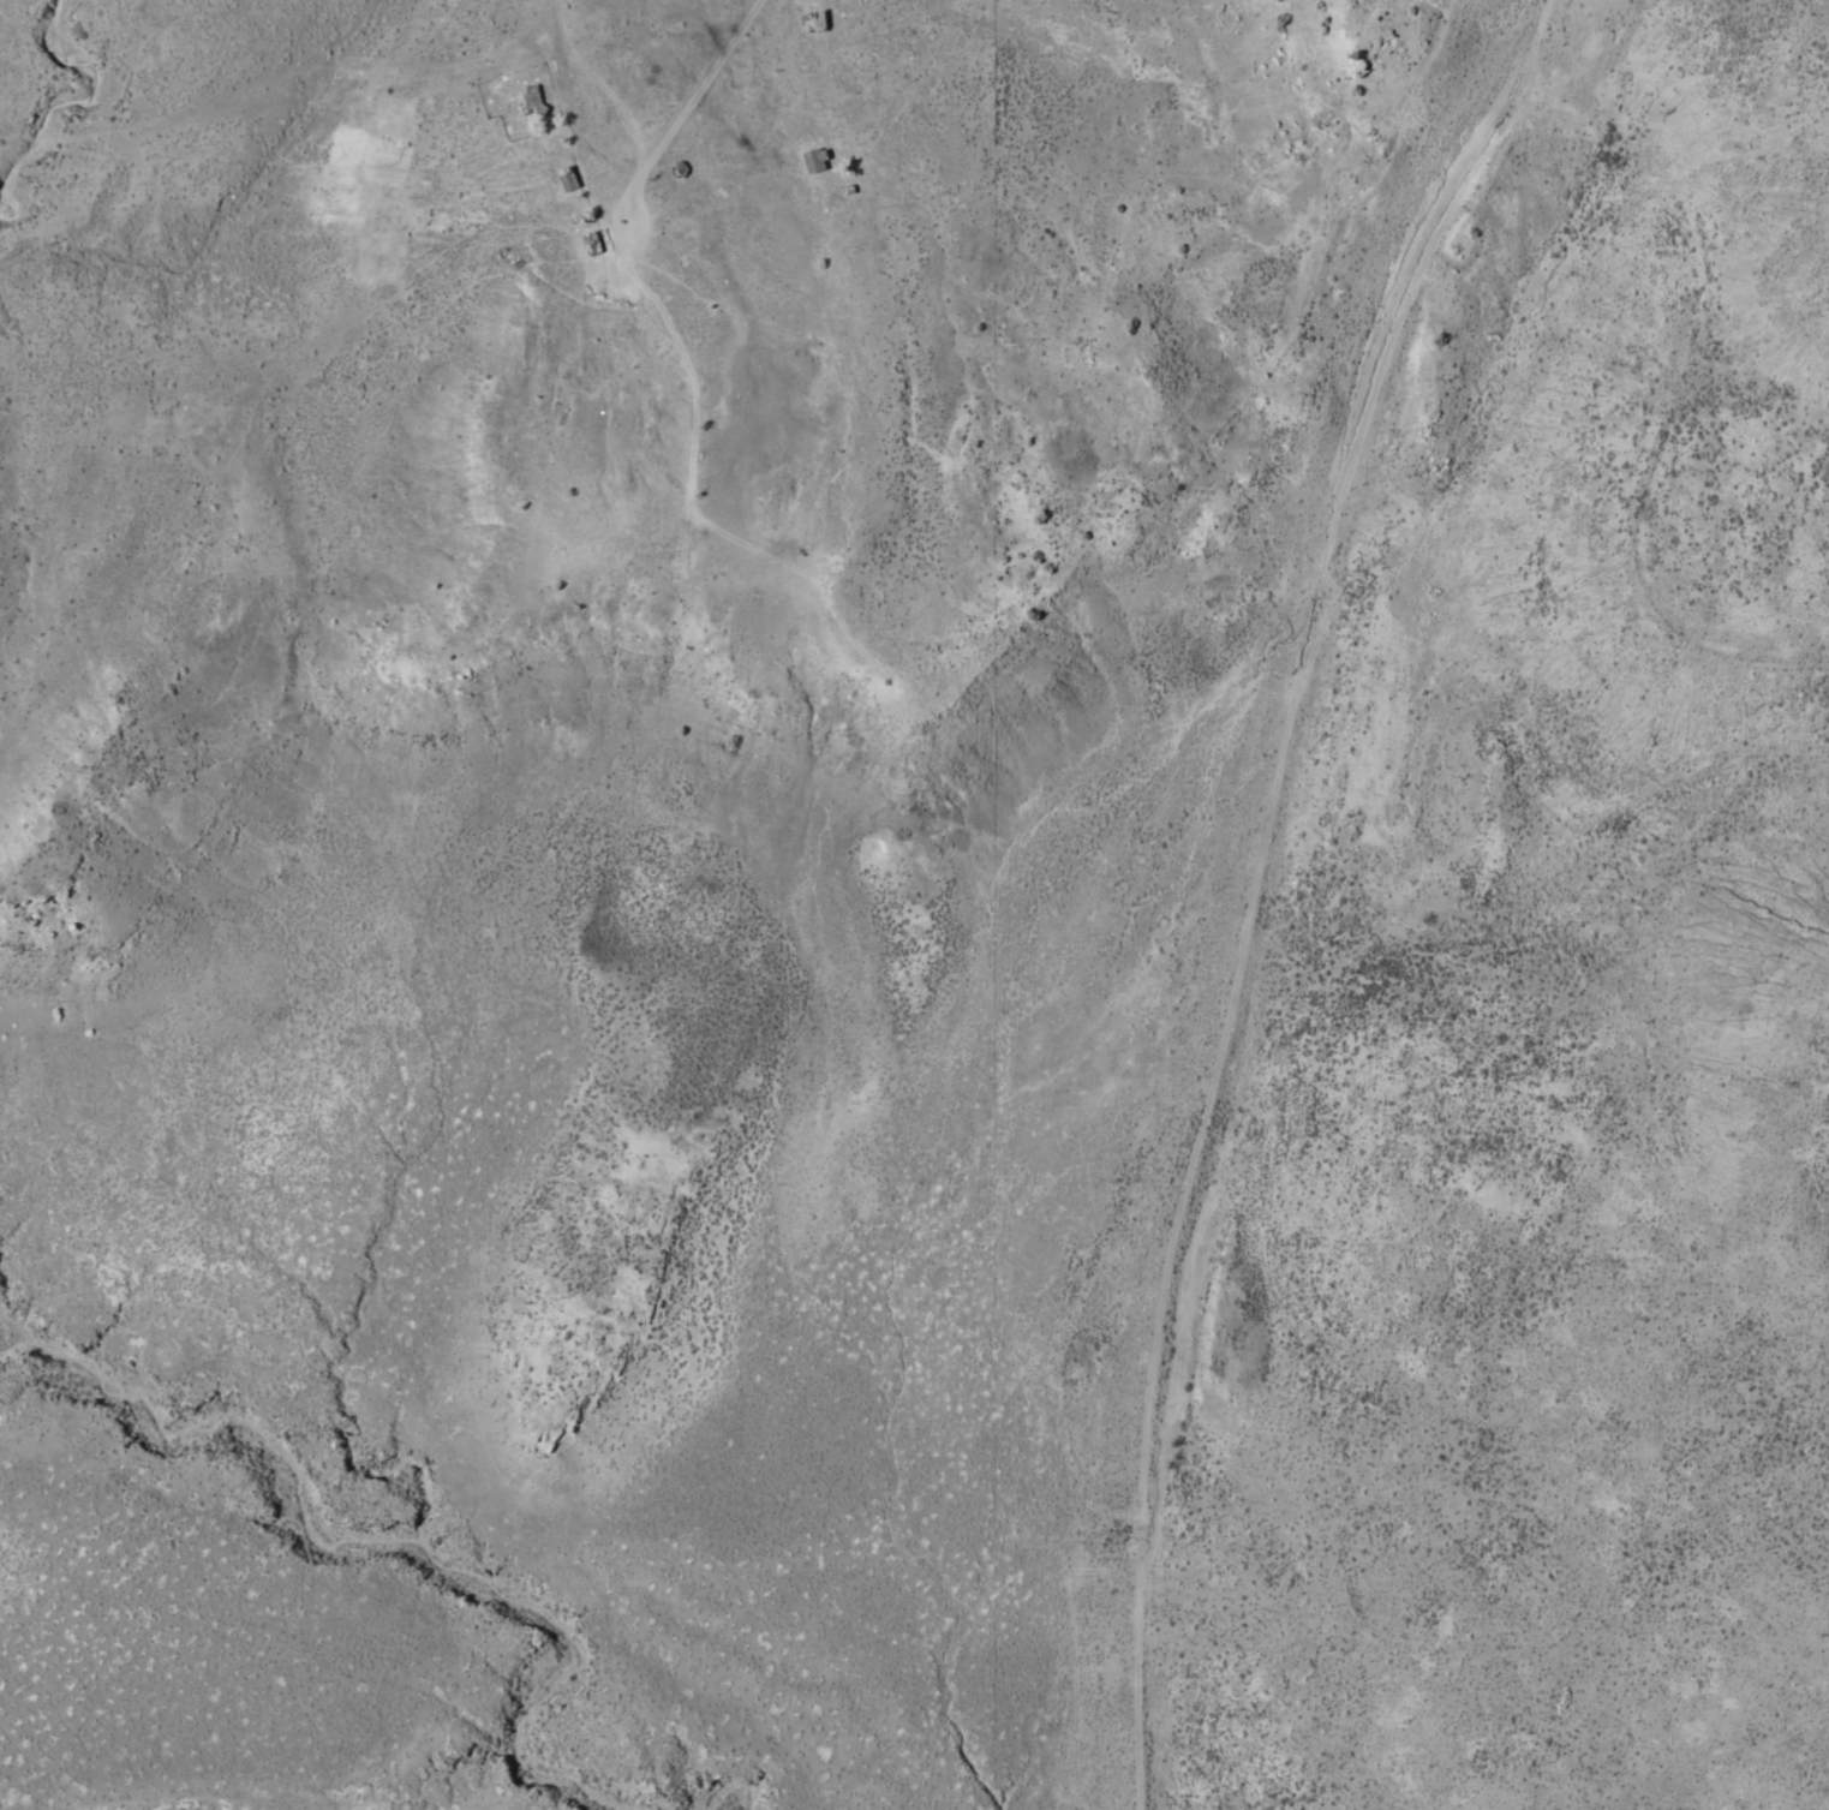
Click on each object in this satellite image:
road: (752, 8)
building: (814, 161)
building: (568, 181)
road: (1218, 1020)

